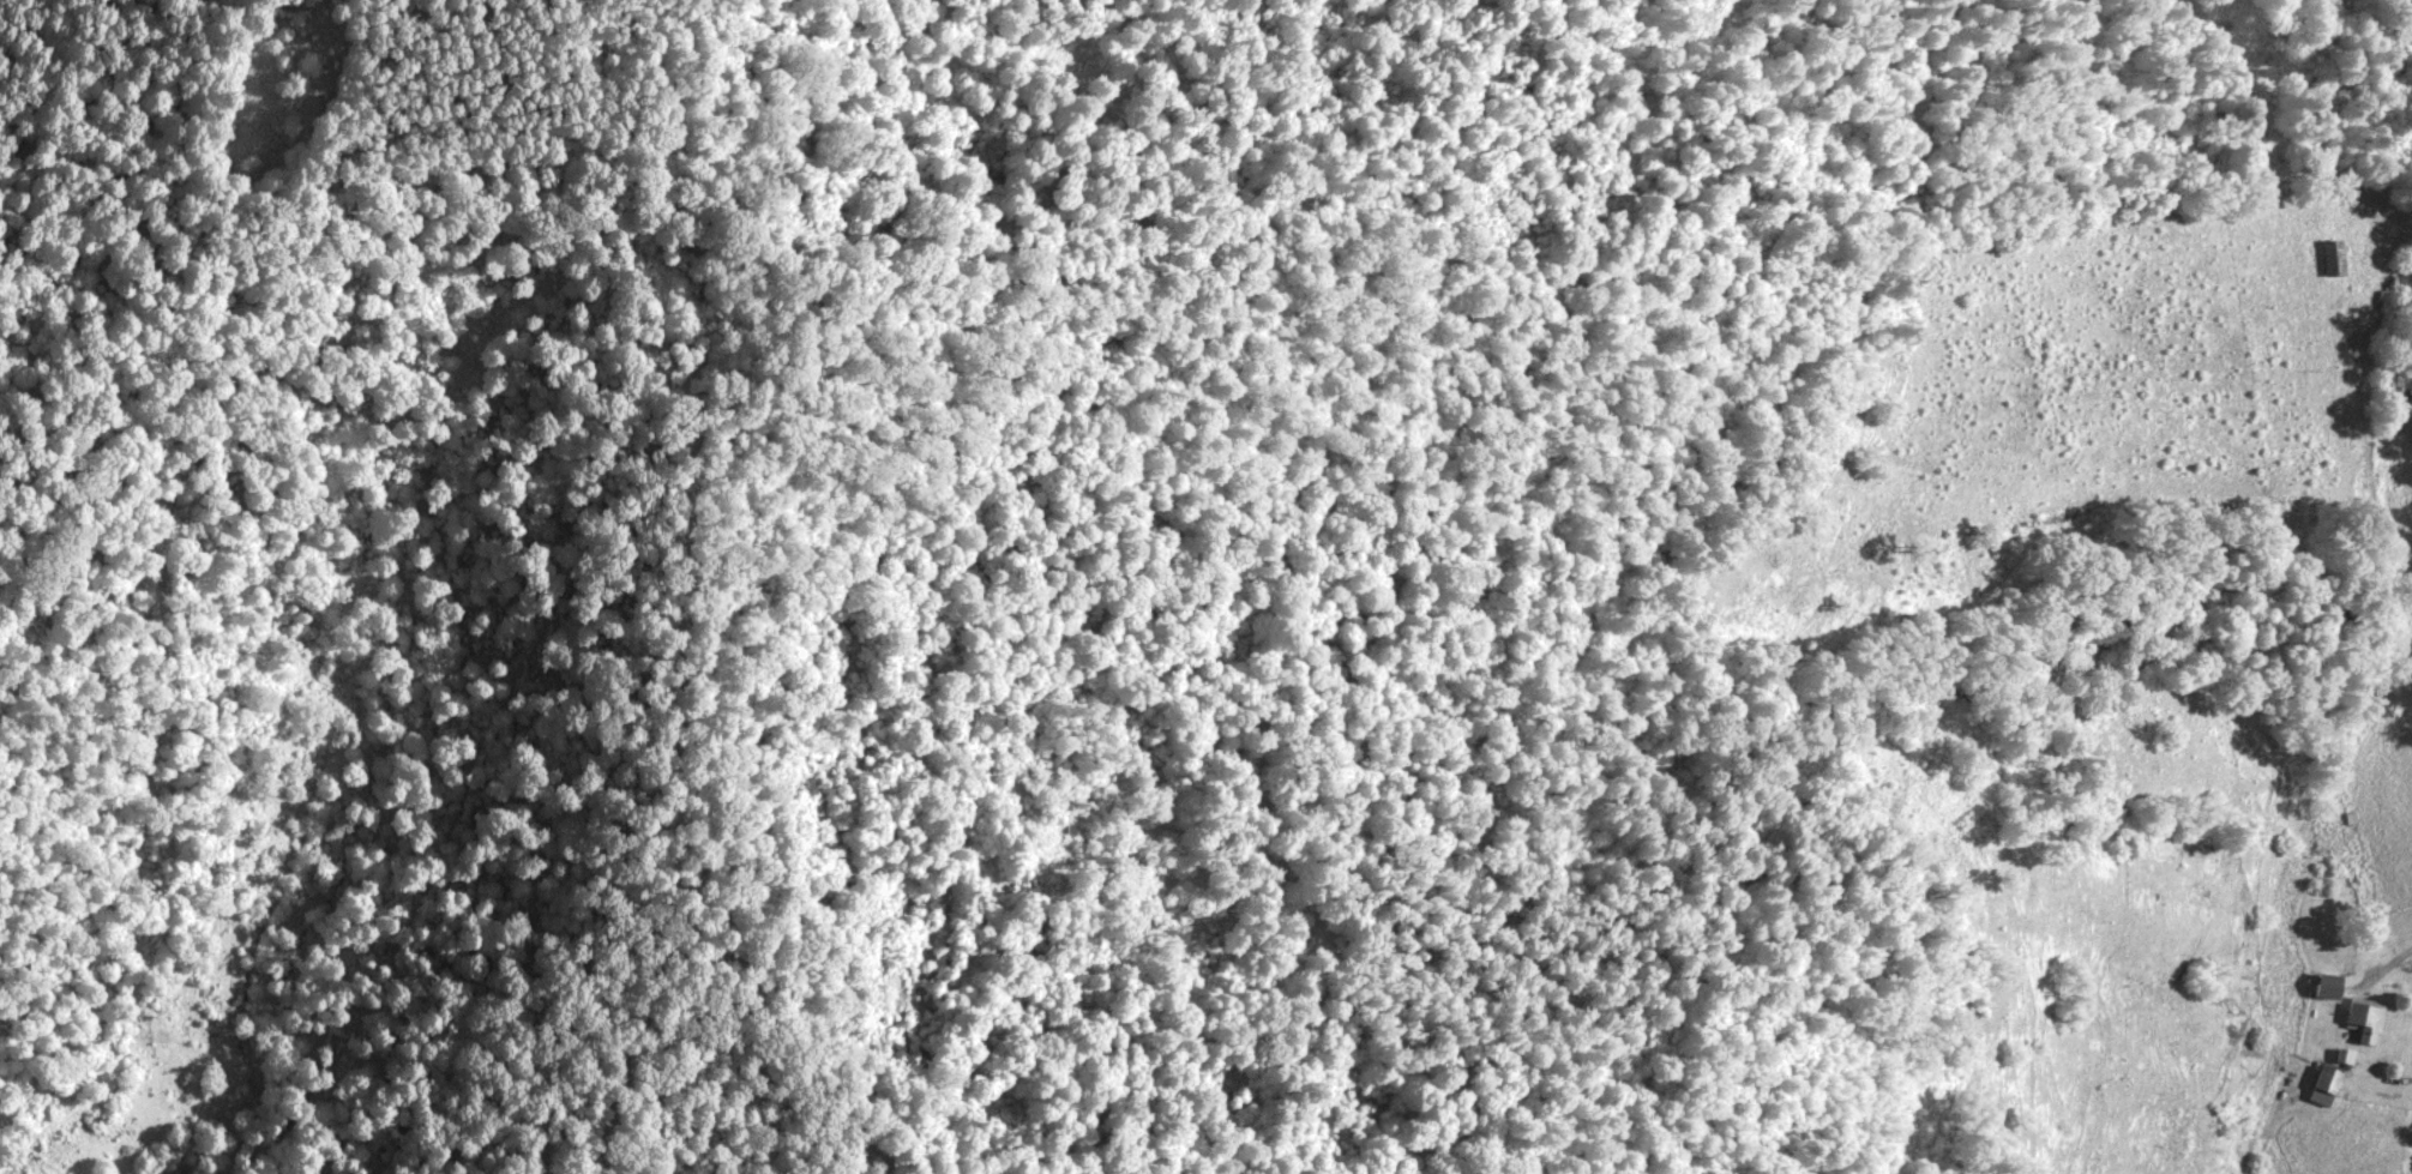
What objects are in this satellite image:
building: (2333, 255)
building: (2327, 985)
building: (2365, 1018)
building: (2326, 1083)

